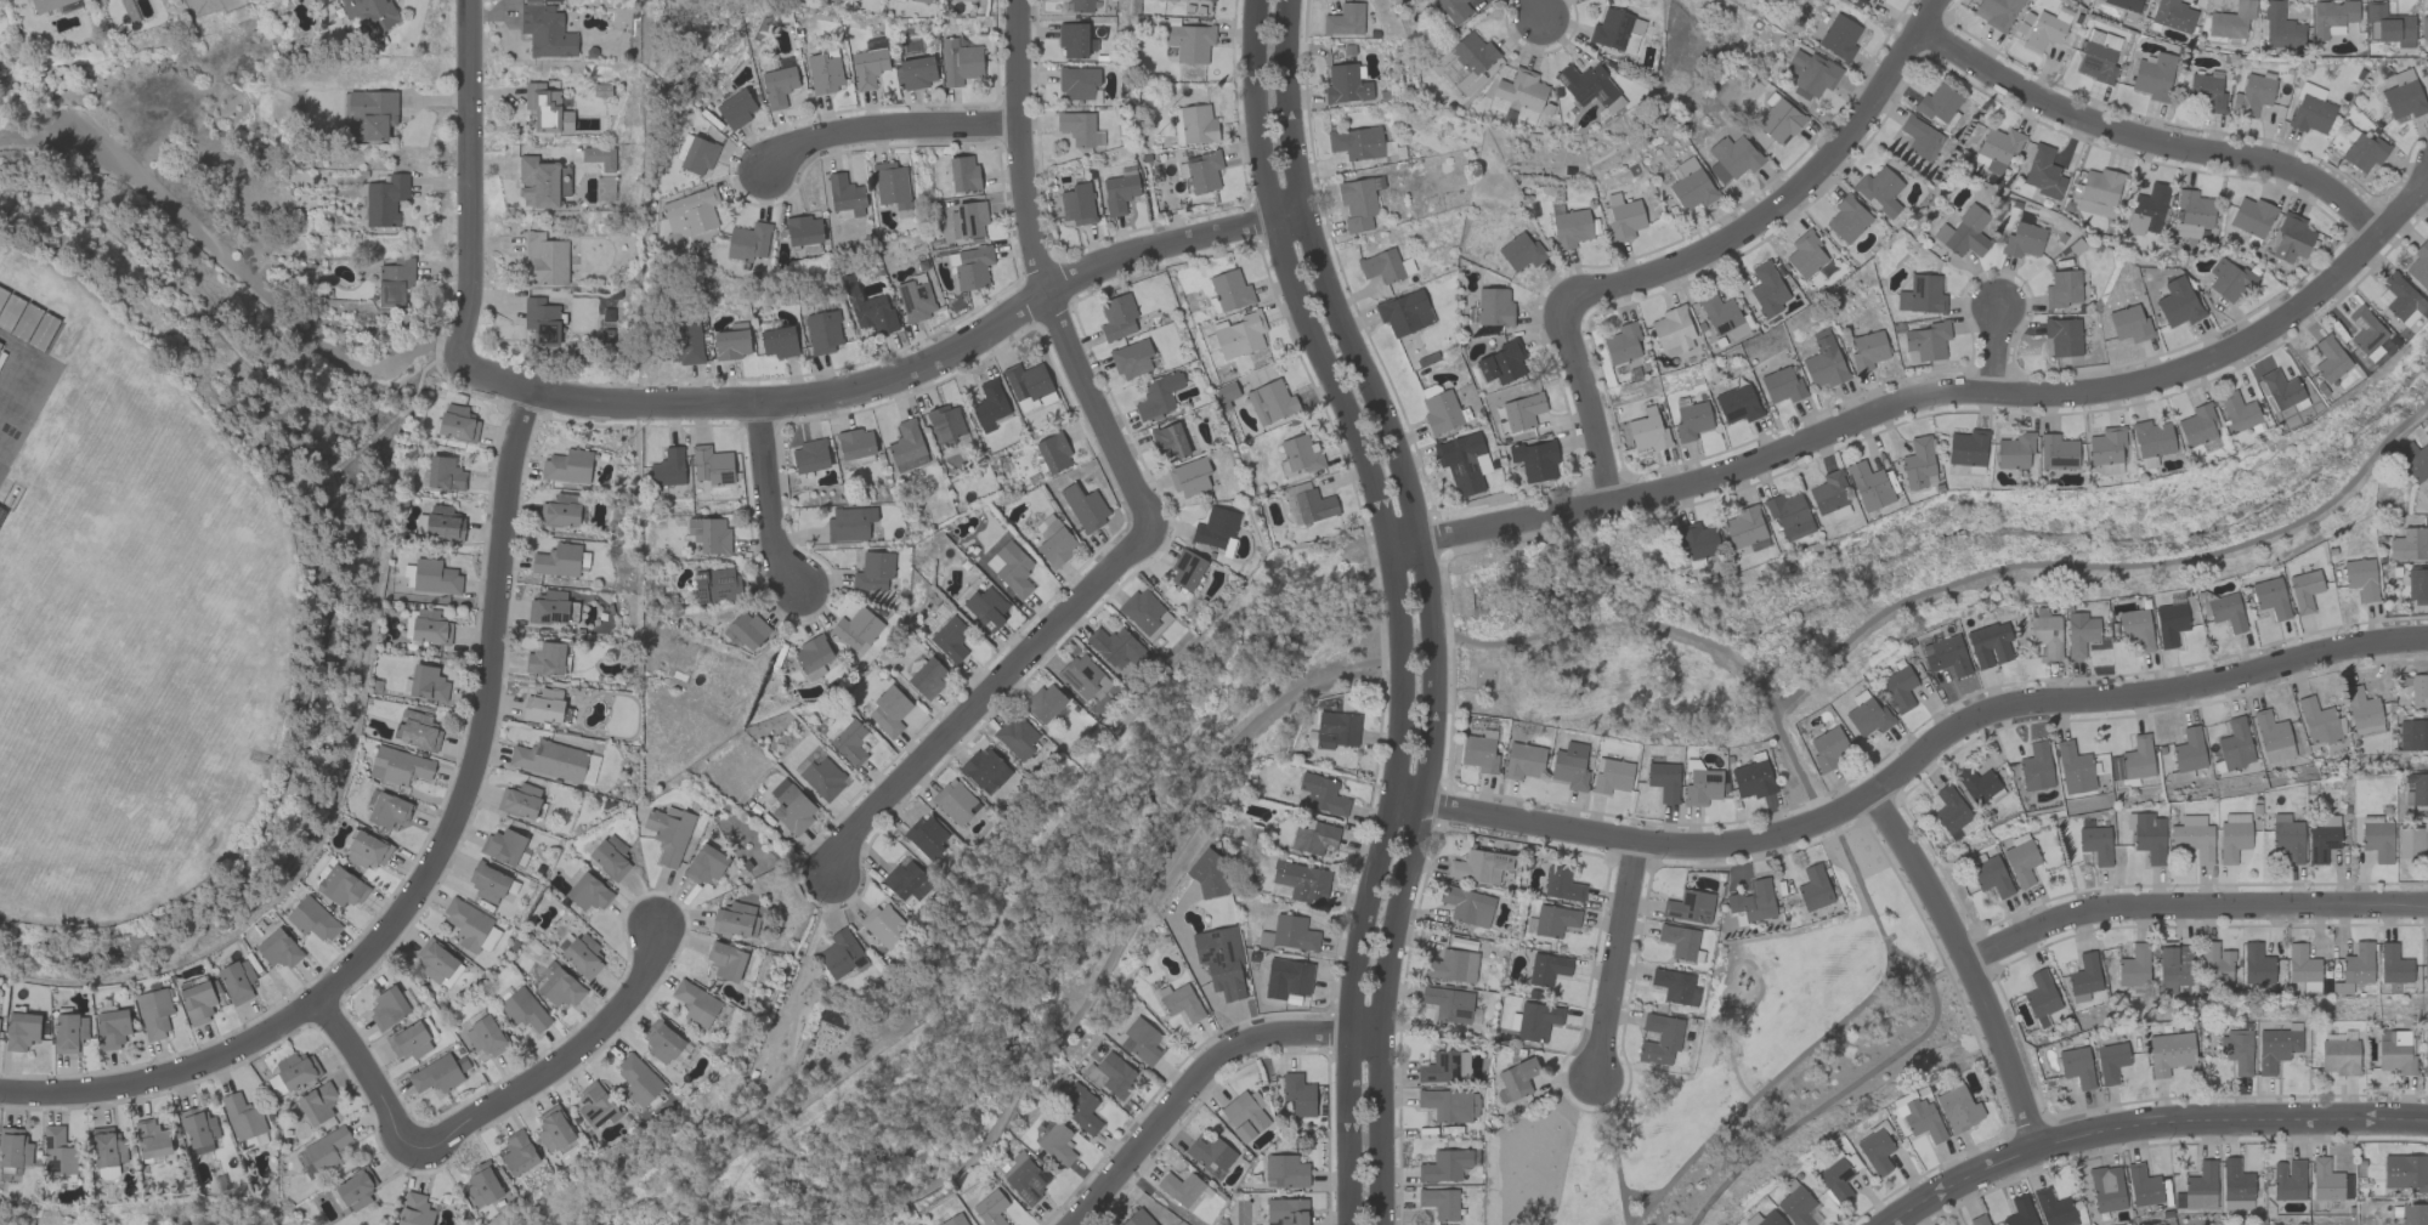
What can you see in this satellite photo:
building: (922, 0)
building: (47, 4)
building: (2127, 4)
building: (1080, 5)
building: (1454, 10)
road: (1533, 12)
building: (1997, 12)
building: (372, 15)
building: (2173, 16)
building: (2332, 17)
building: (1345, 19)
building: (2231, 21)
building: (2388, 25)
building: (2423, 27)
building: (2280, 28)
building: (545, 32)
building: (2043, 32)
building: (1839, 36)
building: (1072, 39)
building: (1187, 40)
building: (958, 62)
building: (1464, 62)
building: (2096, 62)
building: (868, 63)
building: (917, 72)
building: (824, 73)
building: (1810, 74)
building: (2153, 76)
building: (1077, 83)
building: (777, 85)
building: (1346, 85)
building: (1589, 87)
building: (2207, 91)
building: (2252, 95)
building: (2404, 96)
building: (1937, 104)
building: (735, 108)
building: (545, 109)
building: (2310, 110)
building: (373, 113)
building: (1778, 121)
building: (1198, 124)
building: (1176, 125)
building: (1080, 129)
road: (879, 130)
building: (1923, 138)
road: (2149, 141)
building: (1357, 143)
building: (1997, 148)
building: (2362, 151)
building: (697, 154)
building: (599, 157)
building: (1732, 158)
building: (1204, 171)
building: (2043, 172)
building: (963, 174)
building: (538, 182)
building: (890, 185)
building: (1690, 185)
building: (1879, 189)
building: (1119, 192)
building: (2099, 192)
building: (845, 194)
building: (385, 199)
road: (1788, 199)
building: (1358, 202)
building: (1077, 204)
building: (2192, 208)
building: (2146, 210)
building: (689, 215)
building: (2252, 216)
road: (468, 217)
building: (967, 220)
building: (1623, 220)
building: (1846, 220)
building: (1570, 228)
building: (804, 229)
building: (1966, 231)
building: (2291, 238)
building: (2022, 240)
building: (747, 242)
building: (1521, 253)
building: (1805, 254)
building: (545, 259)
building: (2418, 265)
building: (1380, 266)
building: (972, 267)
road: (1041, 267)
building: (395, 280)
building: (2229, 280)
road: (253, 284)
building: (1766, 289)
building: (2062, 289)
building: (1230, 290)
building: (1922, 295)
building: (2401, 299)
building: (915, 300)
building: (2177, 302)
building: (1494, 307)
building: (9, 308)
building: (868, 308)
building: (1404, 312)
building: (1116, 317)
building: (2129, 324)
building: (34, 325)
building: (1673, 329)
building: (2365, 329)
building: (822, 331)
building: (1240, 335)
building: (2062, 336)
building: (779, 341)
building: (685, 342)
building: (1926, 342)
building: (731, 344)
building: (1622, 344)
road: (1993, 346)
building: (1867, 350)
building: (2367, 356)
road: (928, 358)
building: (1131, 358)
building: (2330, 358)
building: (1502, 362)
building: (1824, 362)
building: (1782, 385)
building: (1029, 386)
building: (2281, 390)
building: (1226, 393)
building: (1158, 395)
road: (1928, 395)
building: (1270, 402)
road: (1585, 402)
building: (1737, 403)
building: (989, 406)
building: (1522, 410)
building: (1441, 412)
building: (2237, 412)
building: (1691, 420)
building: (457, 424)
building: (945, 425)
building: (2196, 425)
building: (1647, 433)
building: (2152, 438)
building: (1168, 441)
building: (855, 443)
building: (2107, 446)
building: (906, 447)
building: (1968, 447)
building: (2014, 452)
building: (2056, 452)
building: (1053, 453)
building: (1300, 454)
building: (809, 455)
building: (1535, 460)
building: (2413, 460)
building: (1462, 463)
building: (1917, 463)
building: (712, 465)
building: (567, 466)
building: (668, 467)
building: (443, 473)
building: (1189, 476)
building: (1869, 487)
building: (1829, 495)
road: (336, 498)
road: (765, 500)
building: (1307, 504)
building: (1085, 507)
building: (560, 511)
building: (1789, 516)
building: (850, 523)
building: (1216, 529)
building: (1744, 529)
building: (709, 533)
building: (1053, 541)
building: (1697, 543)
building: (2409, 545)
building: (556, 560)
road: (2102, 565)
building: (1011, 567)
building: (1187, 569)
building: (873, 571)
building: (434, 577)
building: (2360, 578)
park: (1881, 583)
building: (715, 585)
building: (2417, 585)
building: (2304, 590)
building: (2270, 597)
road: (1428, 603)
road: (1393, 605)
building: (549, 607)
building: (986, 608)
building: (2226, 612)
building: (1144, 613)
building: (2169, 623)
building: (430, 626)
building: (856, 628)
building: (747, 629)
building: (2135, 629)
road: (1677, 631)
building: (2079, 633)
building: (2045, 635)
building: (950, 639)
building: (1990, 645)
building: (1116, 646)
building: (1946, 656)
building: (813, 657)
building: (545, 658)
building: (927, 677)
building: (1083, 677)
building: (426, 682)
building: (1898, 688)
building: (2418, 690)
road: (975, 697)
road: (283, 698)
building: (1045, 702)
building: (543, 705)
building: (887, 710)
building: (2362, 711)
building: (1866, 715)
building: (2317, 721)
building: (417, 730)
building: (1336, 730)
building: (2412, 735)
building: (1017, 736)
building: (2273, 737)
building: (849, 742)
building: (2235, 744)
building: (1826, 749)
building: (2189, 750)
building: (1478, 753)
building: (2136, 758)
building: (549, 759)
road: (1909, 759)
building: (1522, 761)
building: (398, 765)
building: (1569, 765)
building: (2036, 767)
building: (589, 769)
building: (985, 769)
building: (2075, 769)
building: (1611, 776)
building: (822, 777)
building: (1751, 779)
building: (1663, 781)
building: (2136, 781)
building: (1976, 783)
building: (1702, 787)
building: (2416, 788)
building: (1321, 794)
building: (520, 800)
building: (955, 801)
building: (791, 806)
building: (389, 810)
building: (1952, 813)
building: (668, 833)
building: (2146, 835)
building: (2232, 835)
building: (926, 836)
building: (2287, 836)
building: (1313, 838)
building: (2192, 838)
building: (2376, 838)
building: (2322, 839)
building: (2418, 843)
building: (2095, 844)
building: (502, 846)
building: (368, 850)
building: (610, 857)
building: (2020, 862)
building: (704, 863)
building: (1476, 867)
building: (1988, 874)
building: (1207, 877)
road: (420, 878)
building: (906, 880)
building: (489, 883)
building: (1298, 883)
building: (1561, 884)
building: (341, 886)
building: (1813, 887)
building: (588, 892)
building: (1753, 901)
building: (1467, 906)
building: (1688, 907)
road: (2190, 907)
building: (311, 919)
building: (735, 919)
building: (1551, 920)
road: (1122, 924)
building: (470, 925)
building: (883, 925)
park: (1024, 931)
building: (1292, 932)
building: (1679, 941)
building: (278, 948)
building: (838, 953)
building: (583, 955)
road: (1613, 955)
building: (435, 960)
building: (726, 960)
building: (2424, 960)
road: (1963, 962)
building: (2214, 964)
building: (2302, 964)
building: (2358, 964)
building: (2393, 964)
building: (2257, 965)
building: (1451, 966)
building: (2134, 966)
building: (2174, 966)
building: (1546, 968)
building: (1224, 976)
building: (1286, 977)
building: (2084, 977)
building: (237, 981)
building: (1673, 985)
building: (560, 986)
building: (2041, 998)
building: (197, 1002)
building: (1179, 1002)
building: (695, 1003)
building: (1448, 1004)
building: (387, 1008)
building: (523, 1010)
building: (153, 1013)
building: (1536, 1020)
building: (112, 1027)
building: (21, 1030)
building: (69, 1032)
building: (485, 1036)
building: (2339, 1036)
building: (1659, 1038)
building: (409, 1040)
building: (662, 1040)
building: (1141, 1042)
building: (2276, 1047)
building: (2236, 1050)
building: (2394, 1051)
building: (2169, 1053)
building: (2424, 1053)
building: (2338, 1056)
road: (558, 1062)
building: (2110, 1062)
park: (1755, 1066)
building: (2076, 1066)
building: (1441, 1067)
building: (295, 1070)
road: (369, 1073)
building: (435, 1074)
building: (1110, 1074)
road: (1195, 1078)
building: (638, 1079)
building: (1516, 1079)
building: (1297, 1095)
building: (593, 1101)
building: (317, 1102)
building: (1449, 1105)
building: (1079, 1107)
building: (1958, 1108)
building: (1245, 1115)
building: (242, 1116)
building: (1918, 1118)
road: (2147, 1125)
building: (198, 1129)
building: (554, 1132)
building: (151, 1139)
building: (1054, 1141)
building: (13, 1147)
building: (327, 1149)
building: (107, 1150)
building: (57, 1151)
building: (1875, 1151)
building: (517, 1152)
building: (1209, 1153)
building: (1444, 1166)
building: (1284, 1172)
building: (2405, 1172)
building: (1839, 1176)
building: (1025, 1178)
building: (2287, 1179)
building: (2325, 1180)
building: (2143, 1186)
building: (2201, 1186)
building: (2236, 1186)
building: (482, 1187)
building: (1179, 1187)
building: (2106, 1189)
building: (355, 1190)
building: (1439, 1202)
building: (1796, 1206)
building: (2054, 1208)
building: (414, 1209)
building: (992, 1209)
park: (153, 1212)
building: (1286, 1212)
building: (2019, 1212)
building: (2413, 1214)
building: (1138, 1218)
building: (1764, 1219)
building: (953, 1220)
building: (1979, 1220)

